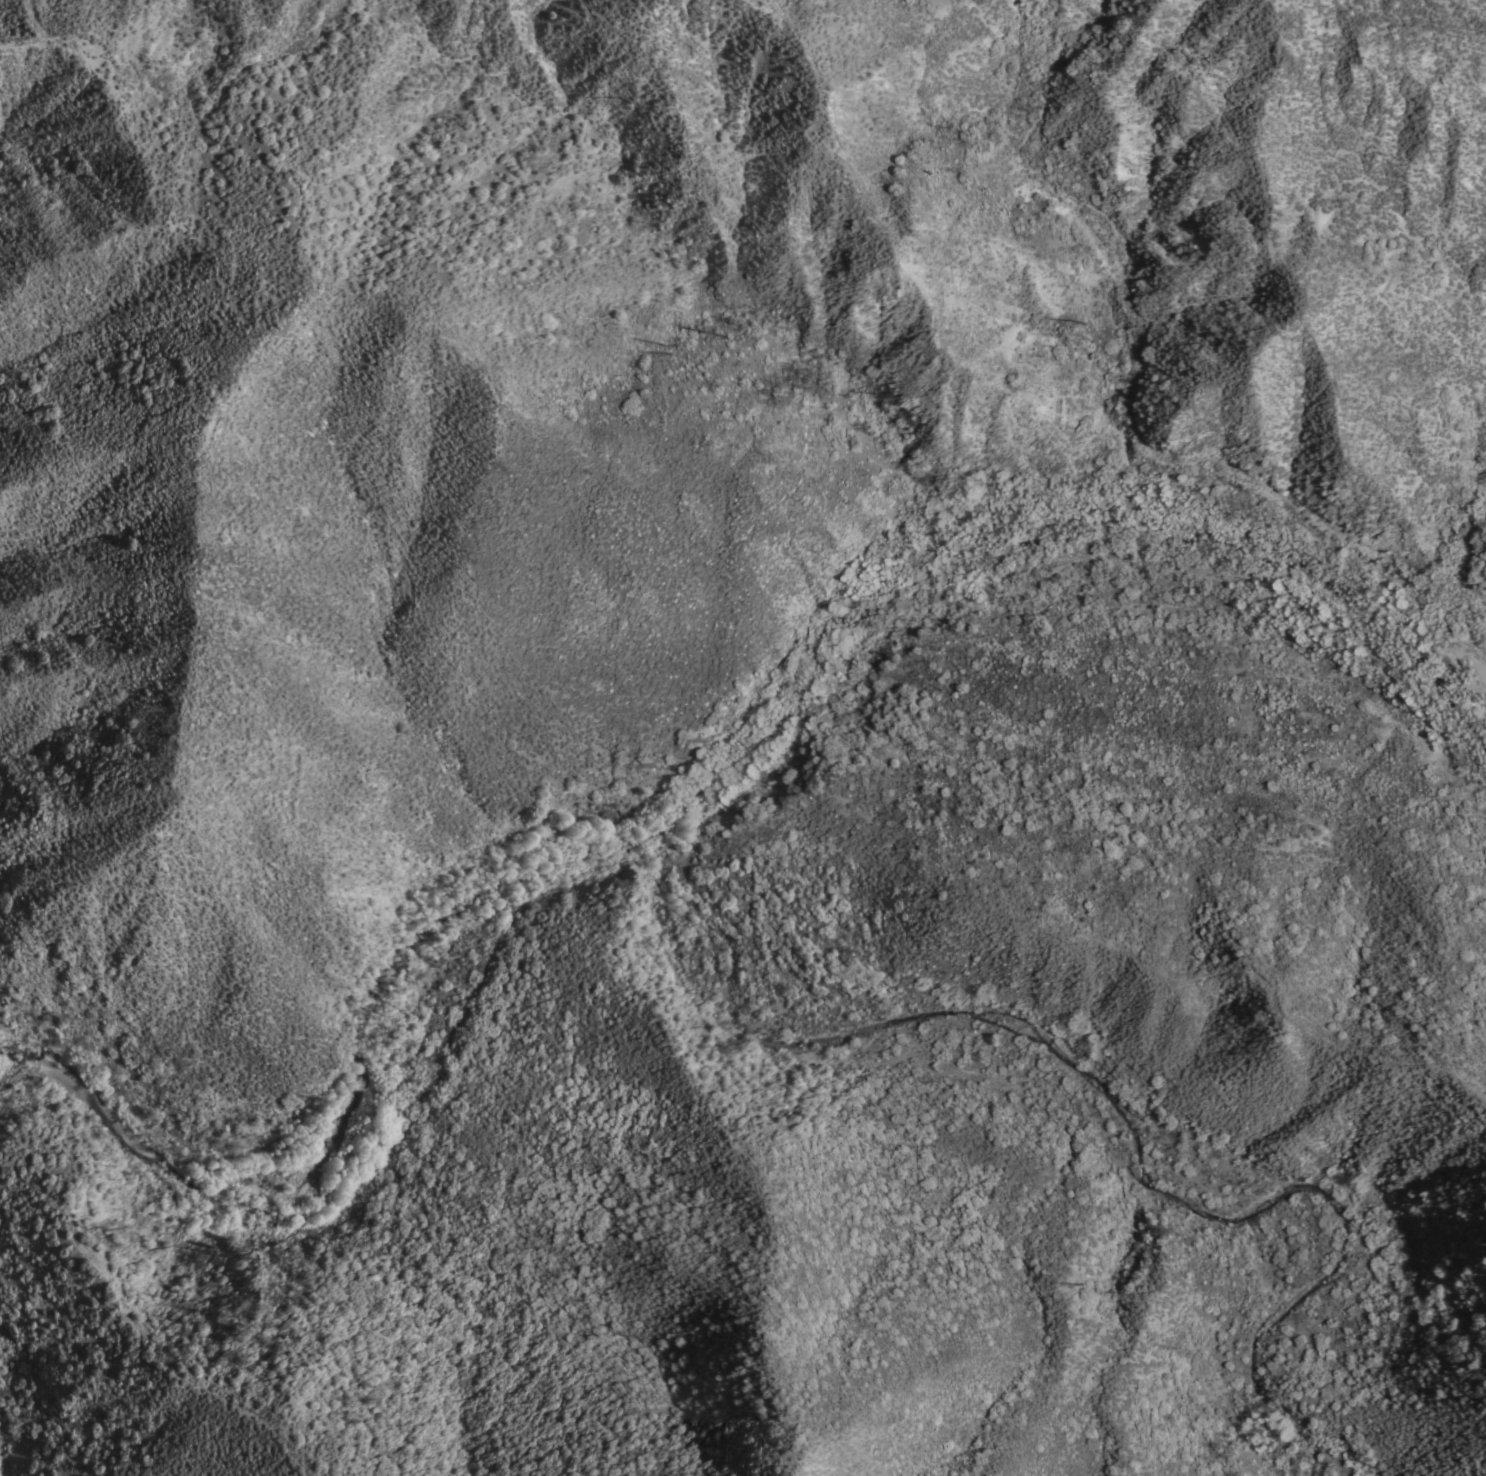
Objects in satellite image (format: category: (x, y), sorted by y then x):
river: (714, 768)

